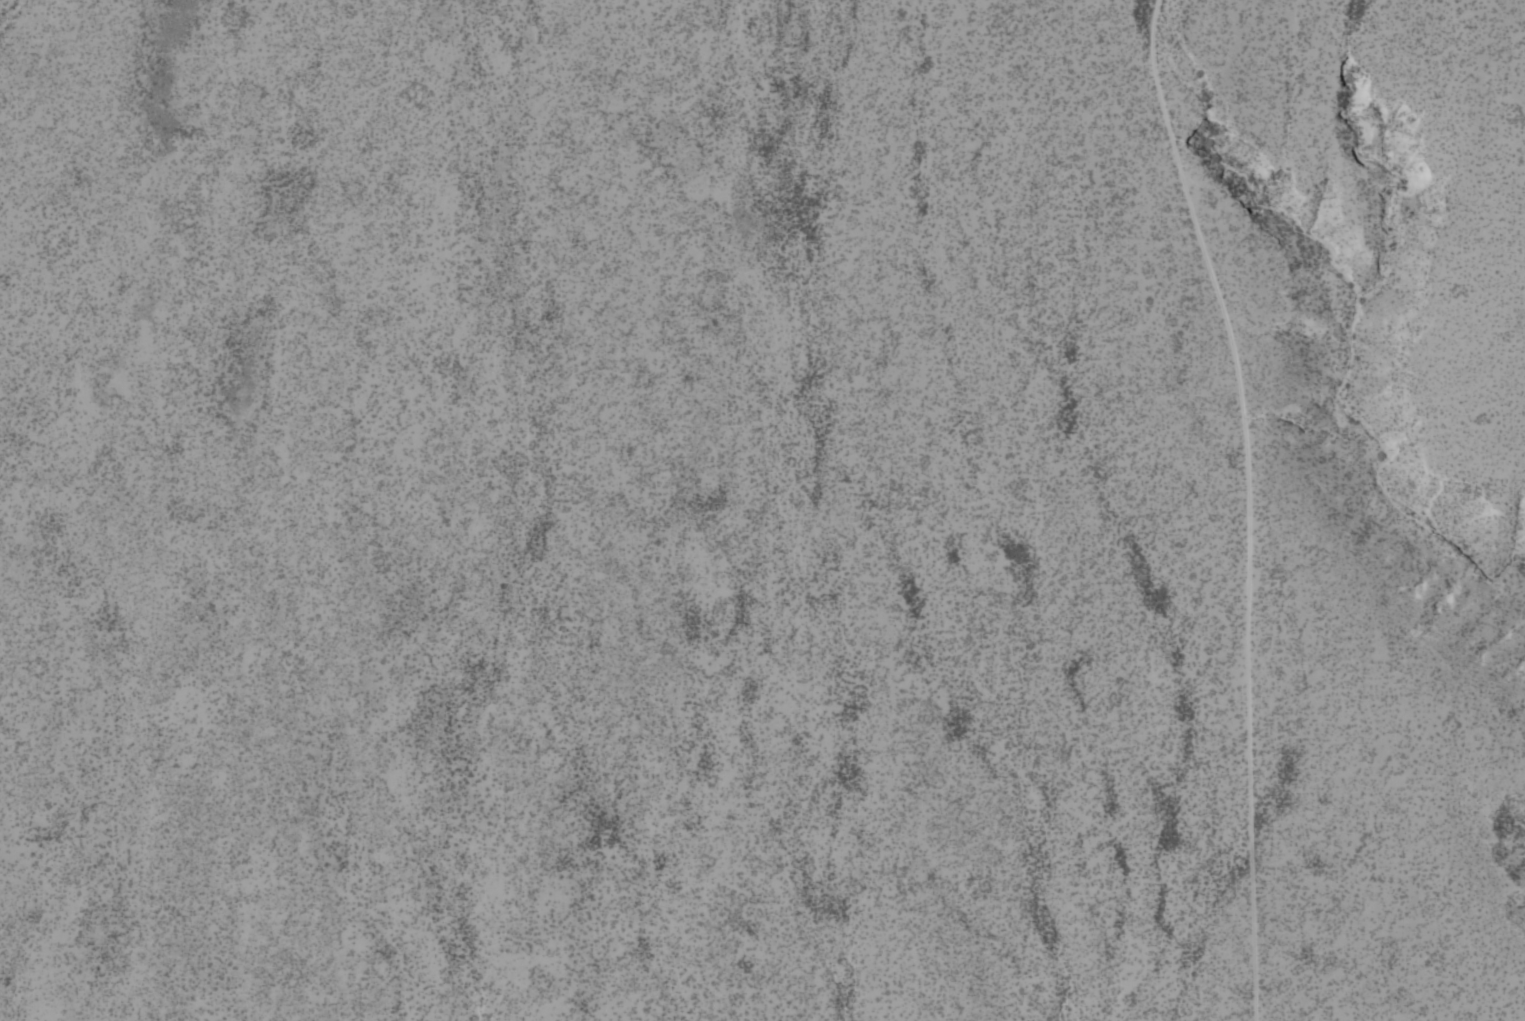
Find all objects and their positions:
road: (1240, 504)

